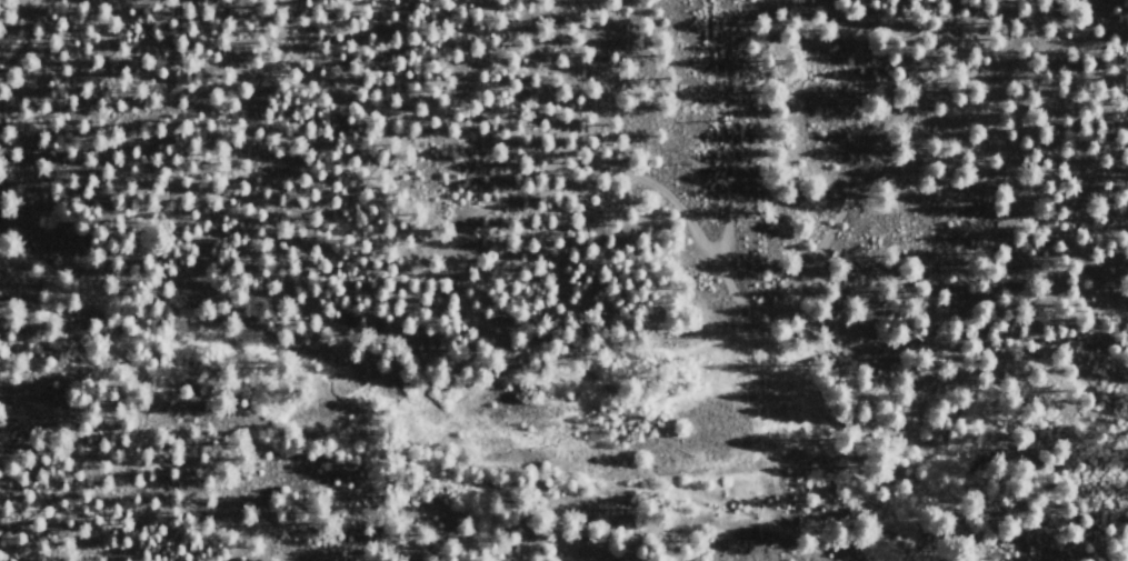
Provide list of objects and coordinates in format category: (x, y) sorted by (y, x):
road: (19, 34)
power tower: (716, 123)
road: (854, 186)
road: (690, 224)

